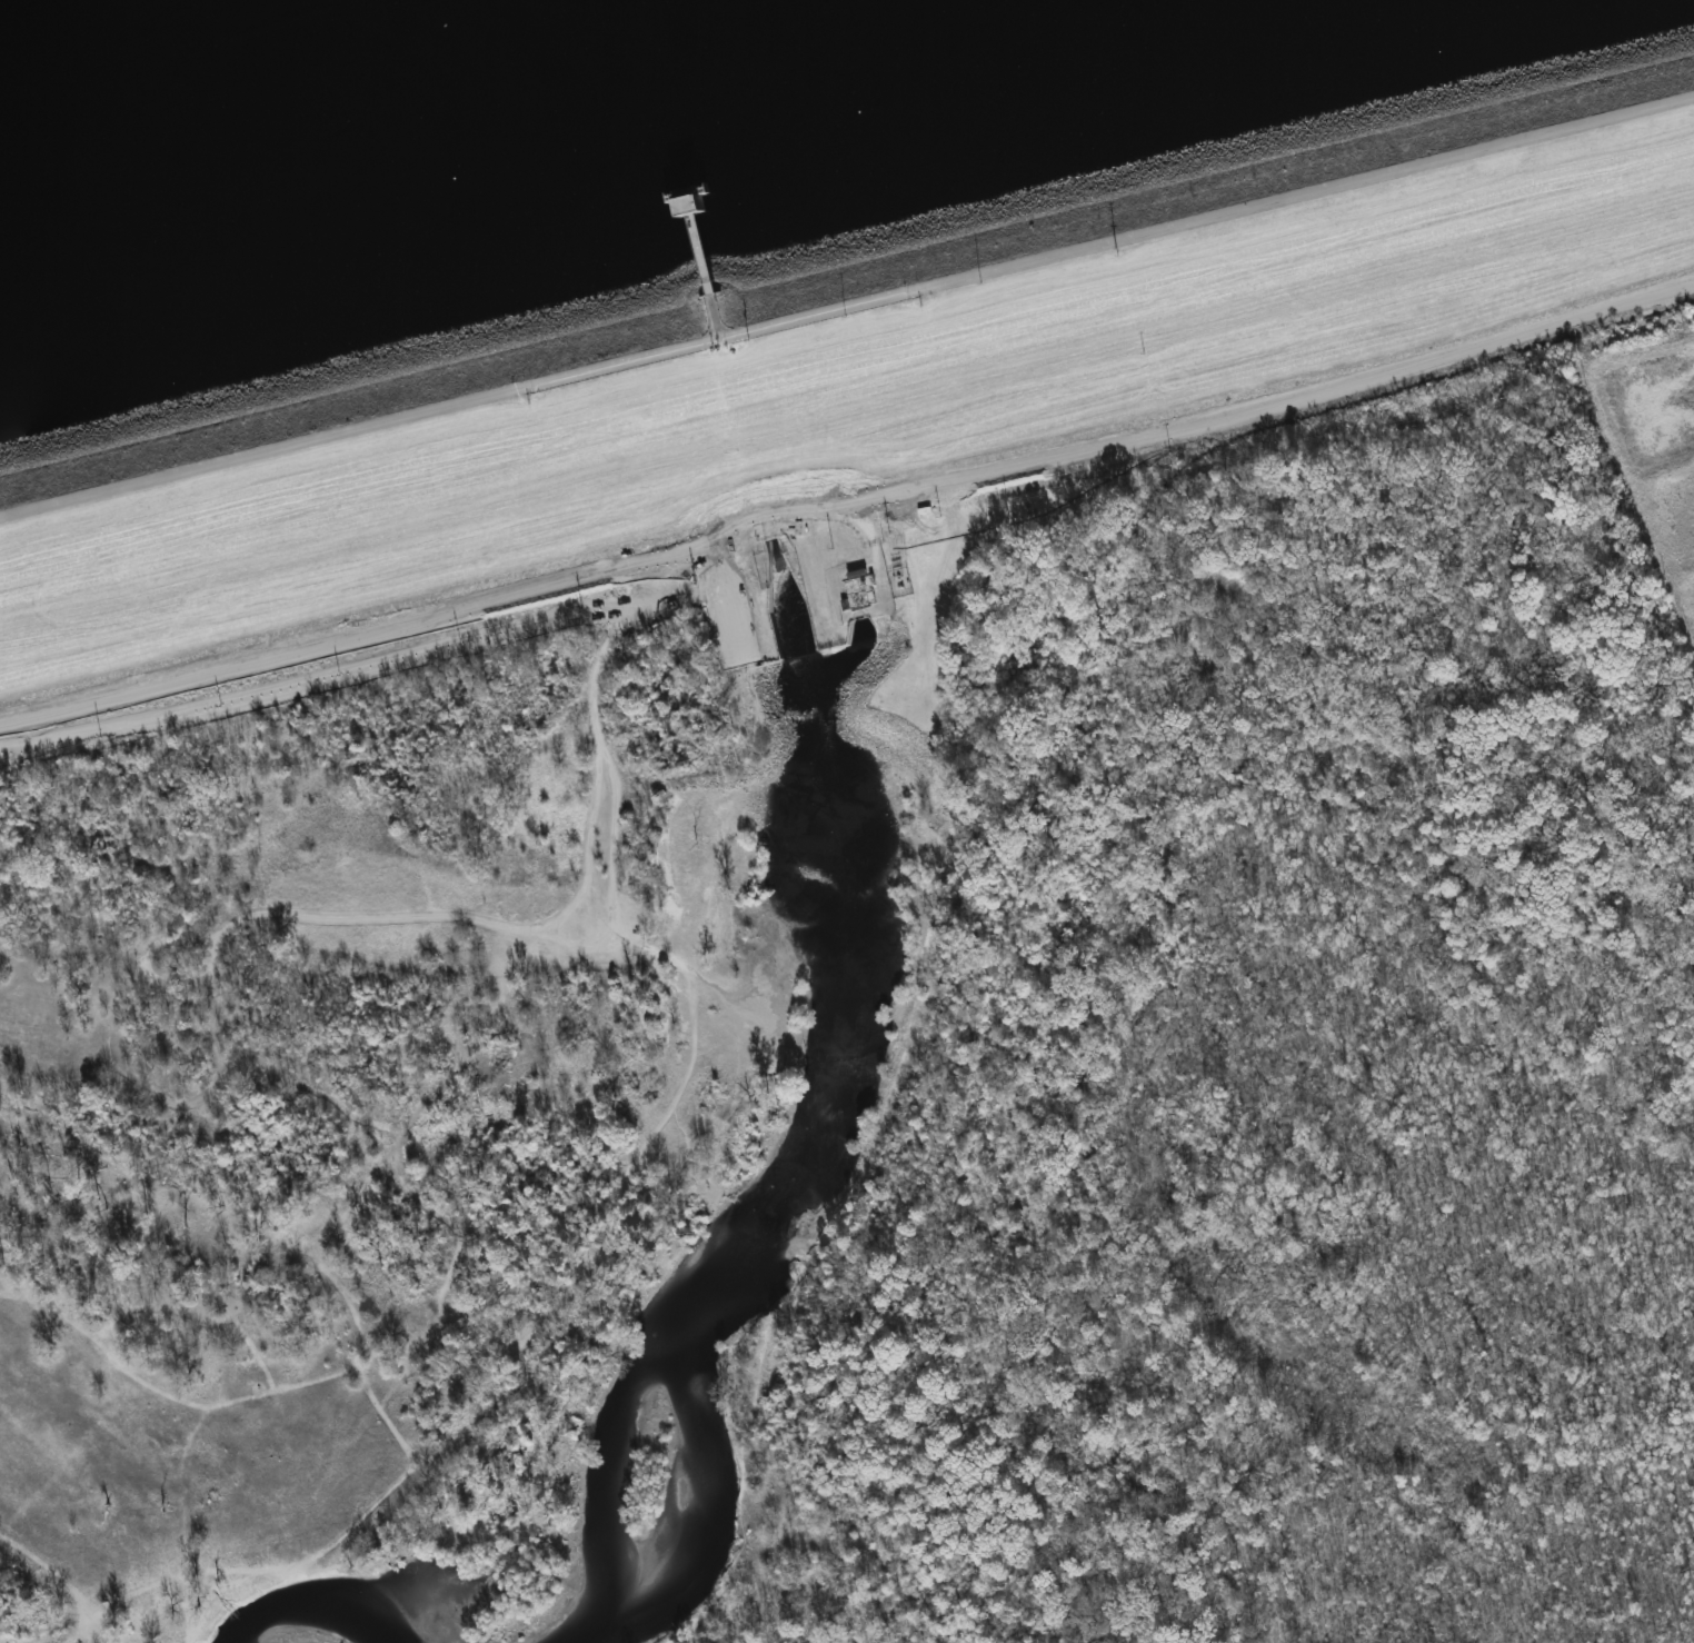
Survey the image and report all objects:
building: (691, 207)
road: (704, 255)
road: (847, 309)
road: (720, 318)
dam: (835, 357)
river: (726, 366)
road: (1213, 426)
aquafarm: (1654, 449)
building: (858, 594)
road: (720, 597)
parking lot: (725, 611)
road: (365, 638)
road: (357, 924)
road: (601, 945)
river: (853, 955)
road: (146, 964)
road: (893, 1094)
road: (647, 1141)
road: (440, 1224)
road: (312, 1262)
road: (206, 1311)
road: (337, 1386)
road: (182, 1408)
river: (607, 1480)
river: (698, 1506)
road: (58, 1561)
road: (189, 1564)
river: (326, 1603)
road: (79, 1641)

